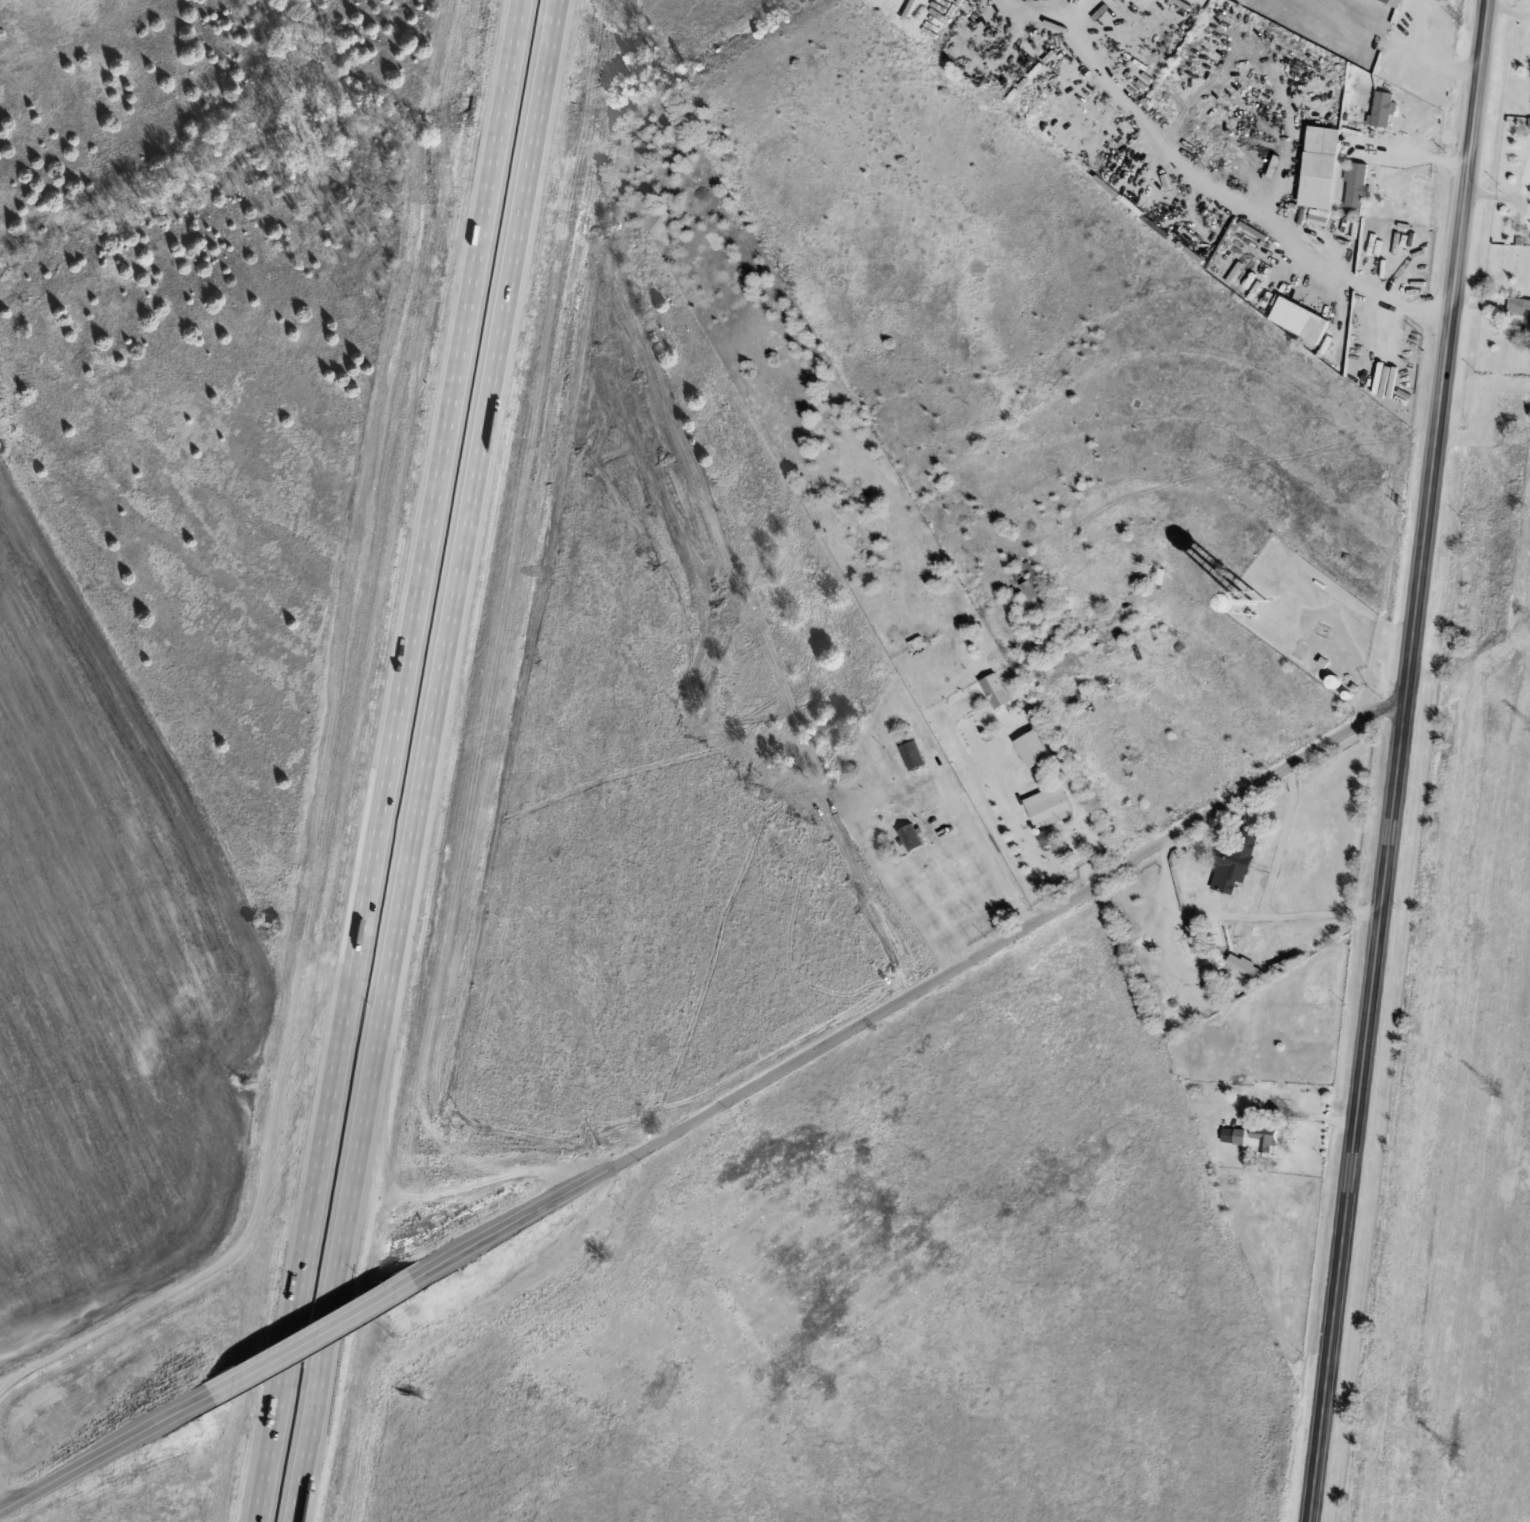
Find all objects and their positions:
building: (1395, 2)
road: (1371, 36)
road: (1433, 51)
building: (1382, 108)
road: (1423, 159)
building: (1358, 185)
road: (1227, 202)
building: (1302, 322)
building: (1516, 324)
building: (1029, 579)
water tower: (1255, 599)
building: (1060, 626)
building: (995, 689)
building: (1033, 747)
building: (912, 753)
road: (1398, 760)
road: (393, 761)
road: (420, 761)
building: (1034, 788)
road: (987, 806)
building: (1051, 809)
building: (911, 836)
road: (981, 837)
road: (1200, 854)
building: (1239, 860)
road: (938, 919)
road: (1234, 919)
road: (916, 982)
power tower: (1495, 1089)
road: (1284, 1102)
building: (1256, 1139)
railway: (1487, 1161)
road: (256, 1213)
road: (315, 1330)
building: (412, 1391)
road: (101, 1450)
power tower: (1452, 1450)

